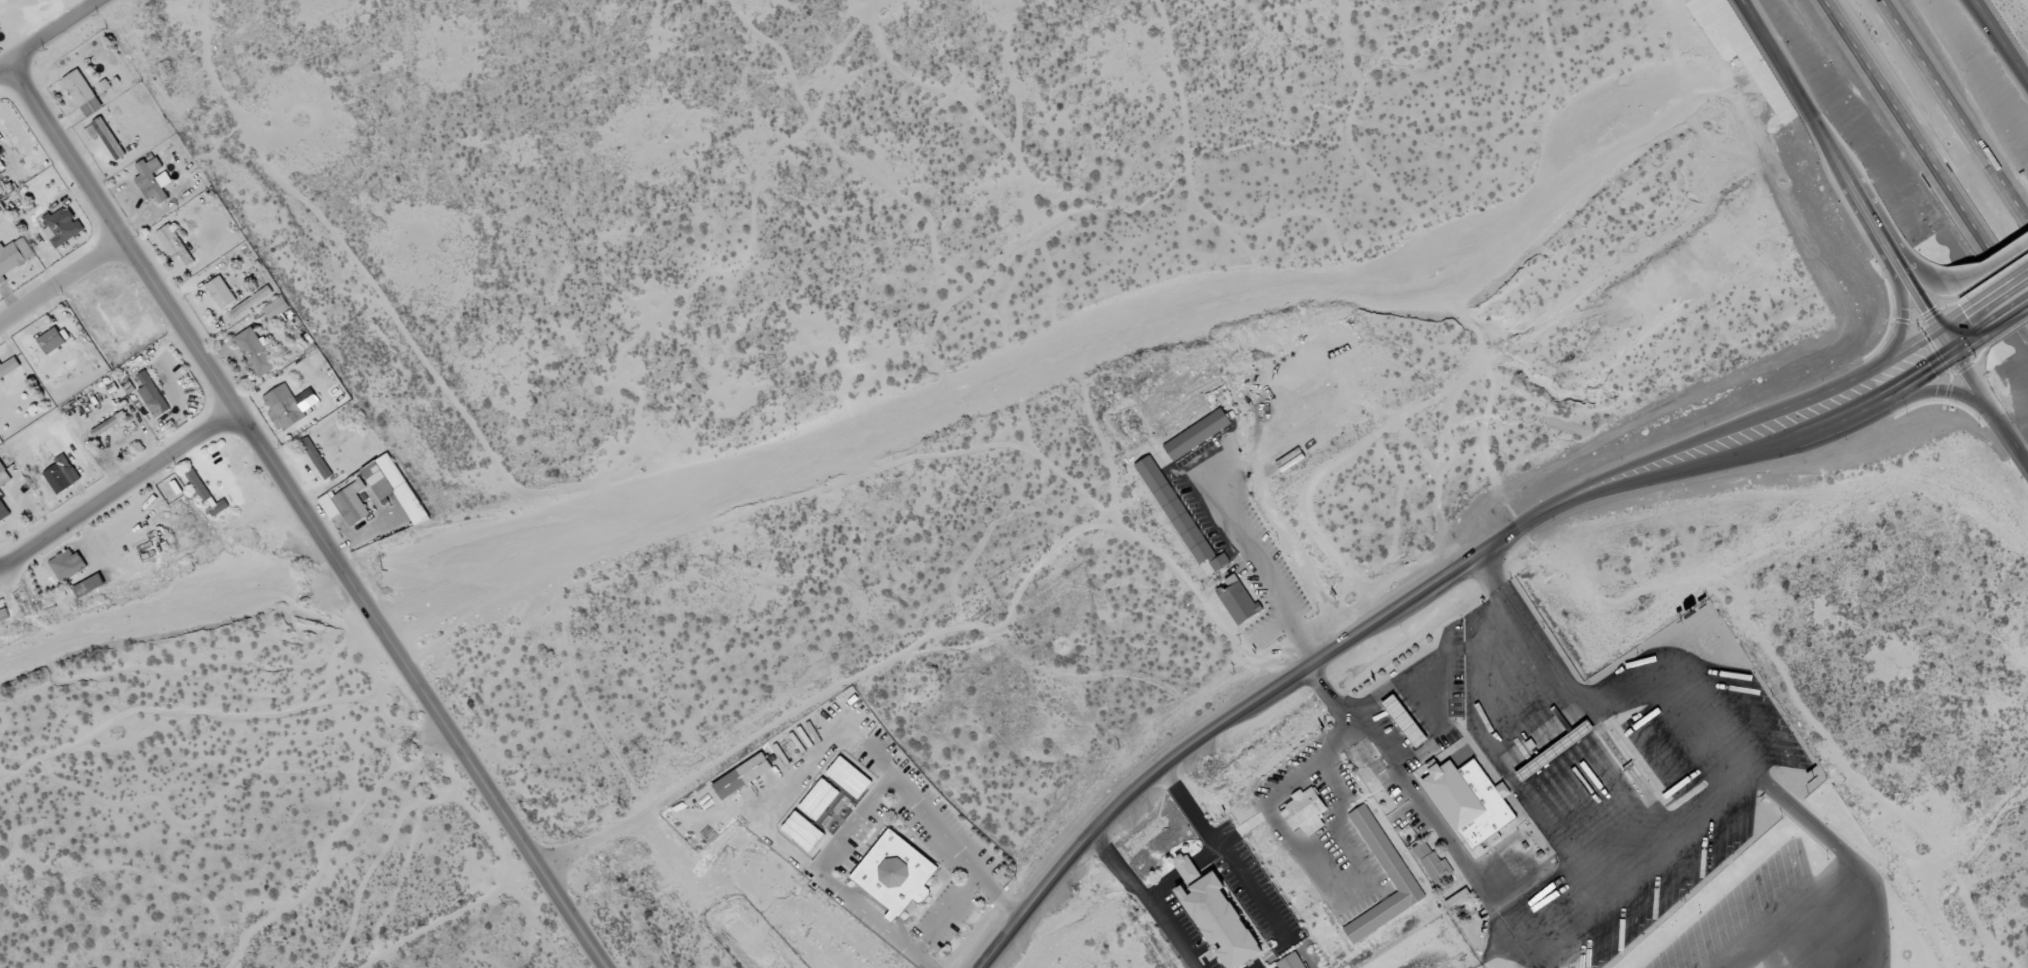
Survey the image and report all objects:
road: (34, 21)
road: (1986, 25)
road: (2002, 39)
road: (1782, 61)
road: (1775, 62)
building: (81, 94)
road: (1952, 111)
building: (108, 139)
road: (1924, 154)
building: (1, 168)
building: (152, 180)
building: (61, 228)
road: (120, 229)
building: (173, 245)
road: (1900, 250)
building: (13, 257)
road: (1992, 264)
road: (57, 271)
road: (1943, 282)
building: (220, 293)
road: (1918, 296)
building: (251, 302)
road: (2003, 303)
building: (275, 309)
road: (174, 312)
road: (1903, 316)
road: (1962, 331)
building: (51, 341)
traffic signals: (1946, 342)
building: (255, 352)
building: (8, 368)
road: (1934, 391)
building: (152, 396)
building: (287, 406)
road: (1738, 425)
building: (112, 426)
building: (1196, 435)
road: (1752, 451)
building: (315, 459)
road: (114, 474)
building: (61, 475)
building: (4, 476)
building: (197, 486)
building: (0, 503)
building: (351, 504)
building: (218, 509)
building: (1180, 518)
building: (0, 521)
building: (67, 565)
building: (89, 587)
building: (1238, 602)
building: (4, 616)
road: (1521, 618)
road: (1431, 664)
road: (1231, 715)
building: (1404, 722)
road: (1342, 739)
road: (475, 772)
building: (742, 777)
building: (848, 778)
building: (818, 800)
building: (1469, 801)
building: (1304, 812)
building: (802, 832)
road: (554, 845)
road: (1224, 850)
building: (1385, 854)
road: (1208, 857)
building: (1434, 866)
road: (1187, 871)
building: (894, 874)
road: (1162, 887)
road: (1144, 898)
building: (1457, 900)
road: (444, 914)
building: (1215, 915)
building: (1291, 962)

